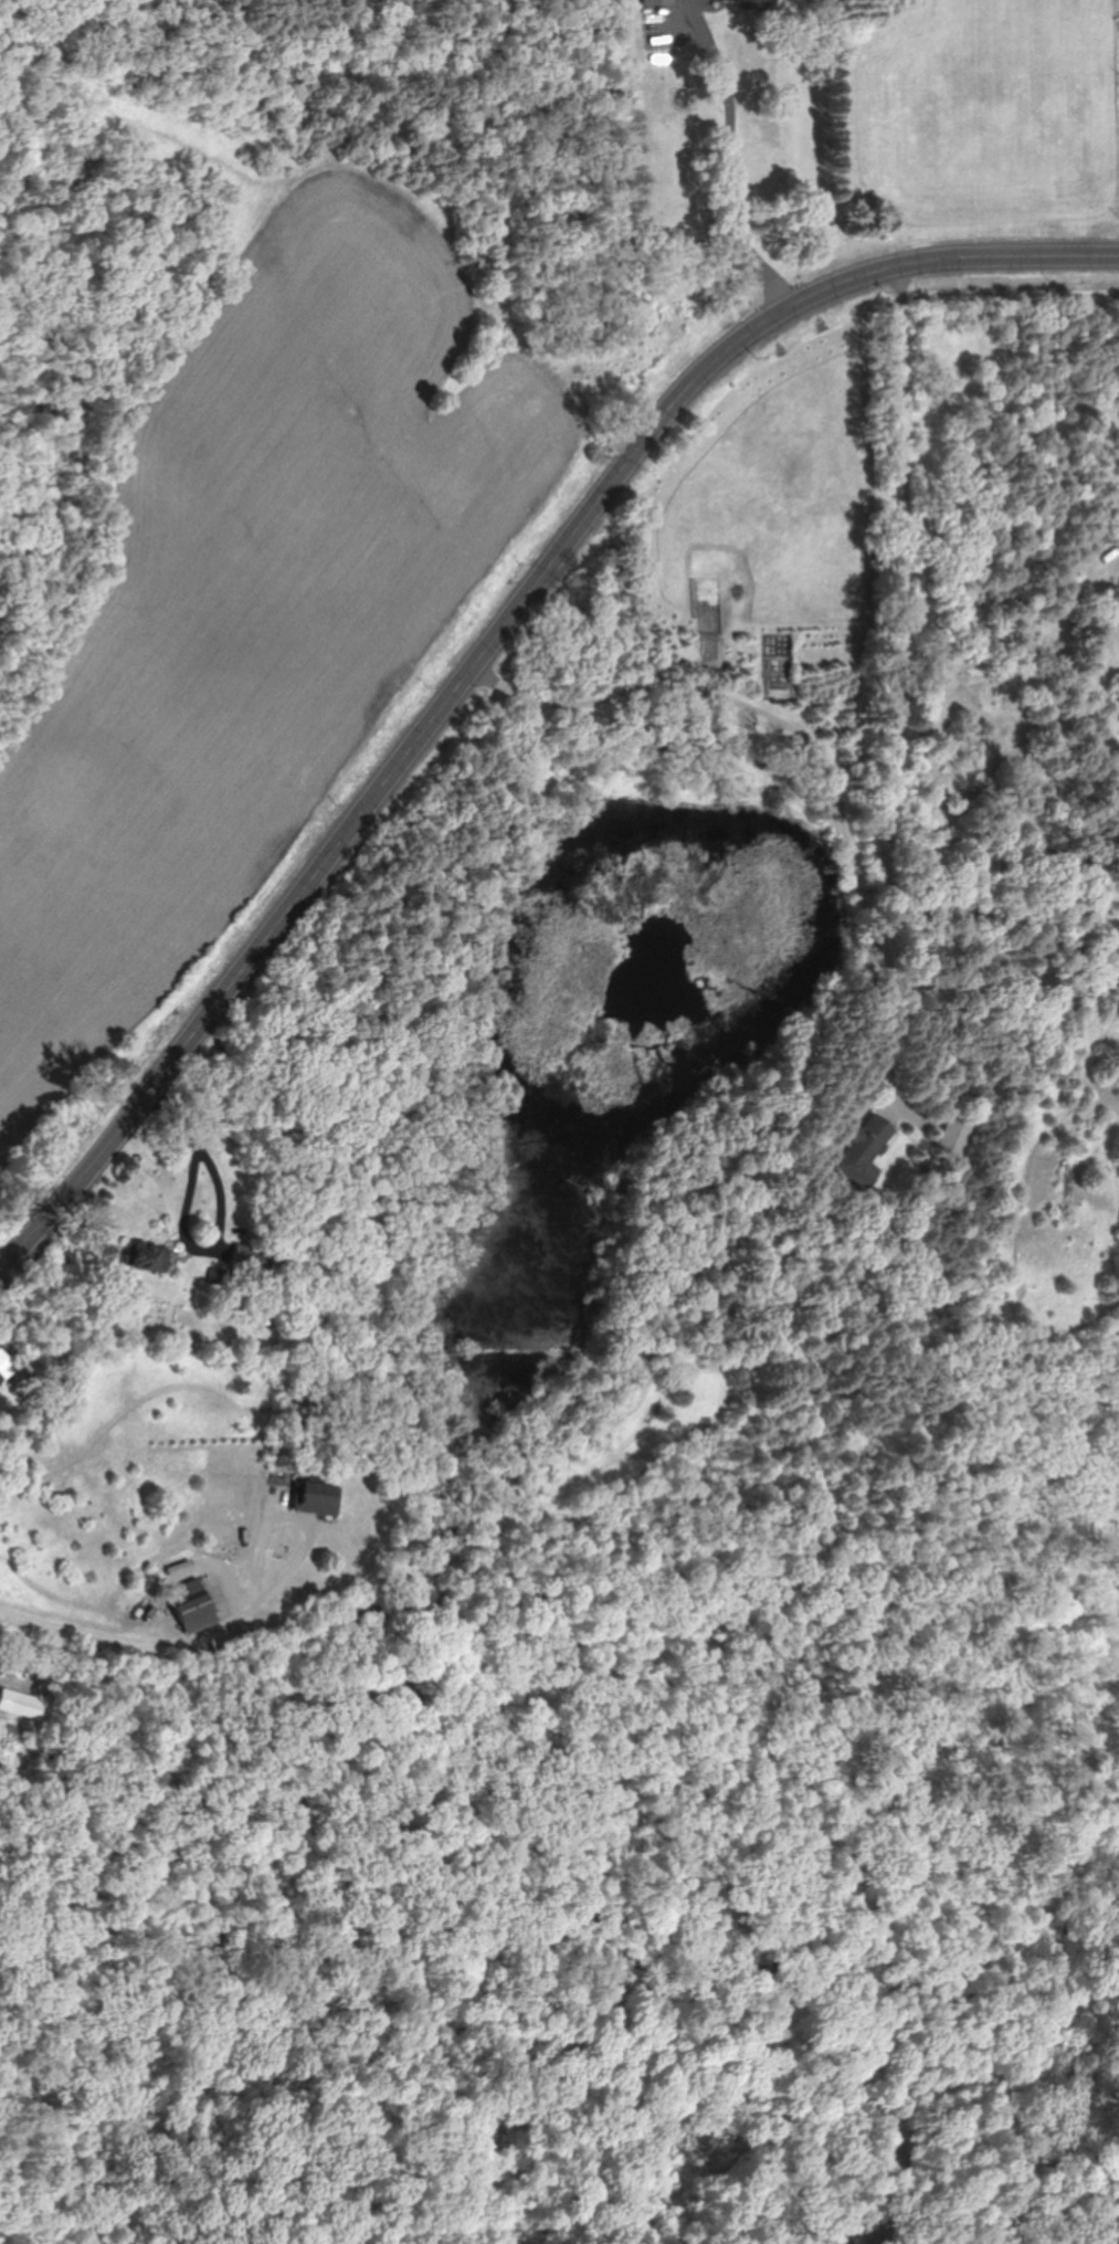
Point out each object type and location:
building: (787, 74)
building: (672, 116)
road: (731, 176)
road: (610, 203)
road: (910, 590)
road: (502, 643)
road: (826, 776)
road: (894, 1012)
road: (177, 1120)
building: (953, 1134)
building: (861, 1149)
road: (214, 1184)
building: (151, 1255)
building: (250, 1258)
building: (6, 1361)
building: (317, 1496)
road: (305, 1536)
building: (194, 1604)
road: (87, 1627)
building: (27, 1704)

